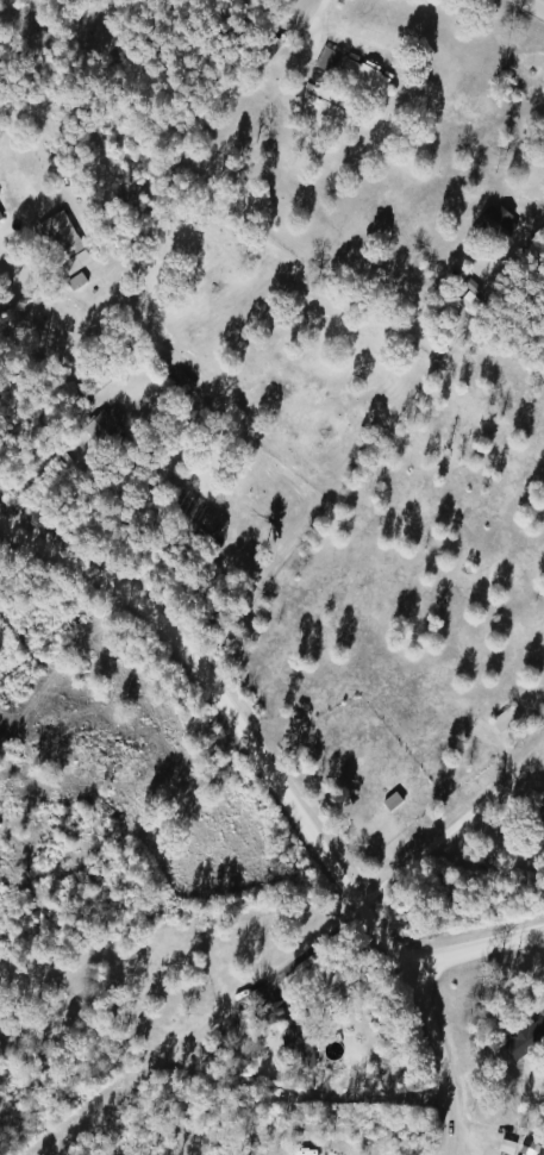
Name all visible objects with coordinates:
road: (530, 7)
building: (264, 55)
building: (324, 60)
building: (361, 81)
building: (494, 221)
building: (52, 231)
building: (465, 304)
building: (176, 381)
building: (102, 427)
road: (284, 797)
building: (533, 822)
road: (121, 835)
road: (476, 948)
building: (270, 1012)
building: (240, 1020)
building: (521, 1037)
building: (298, 1043)
building: (524, 1150)

